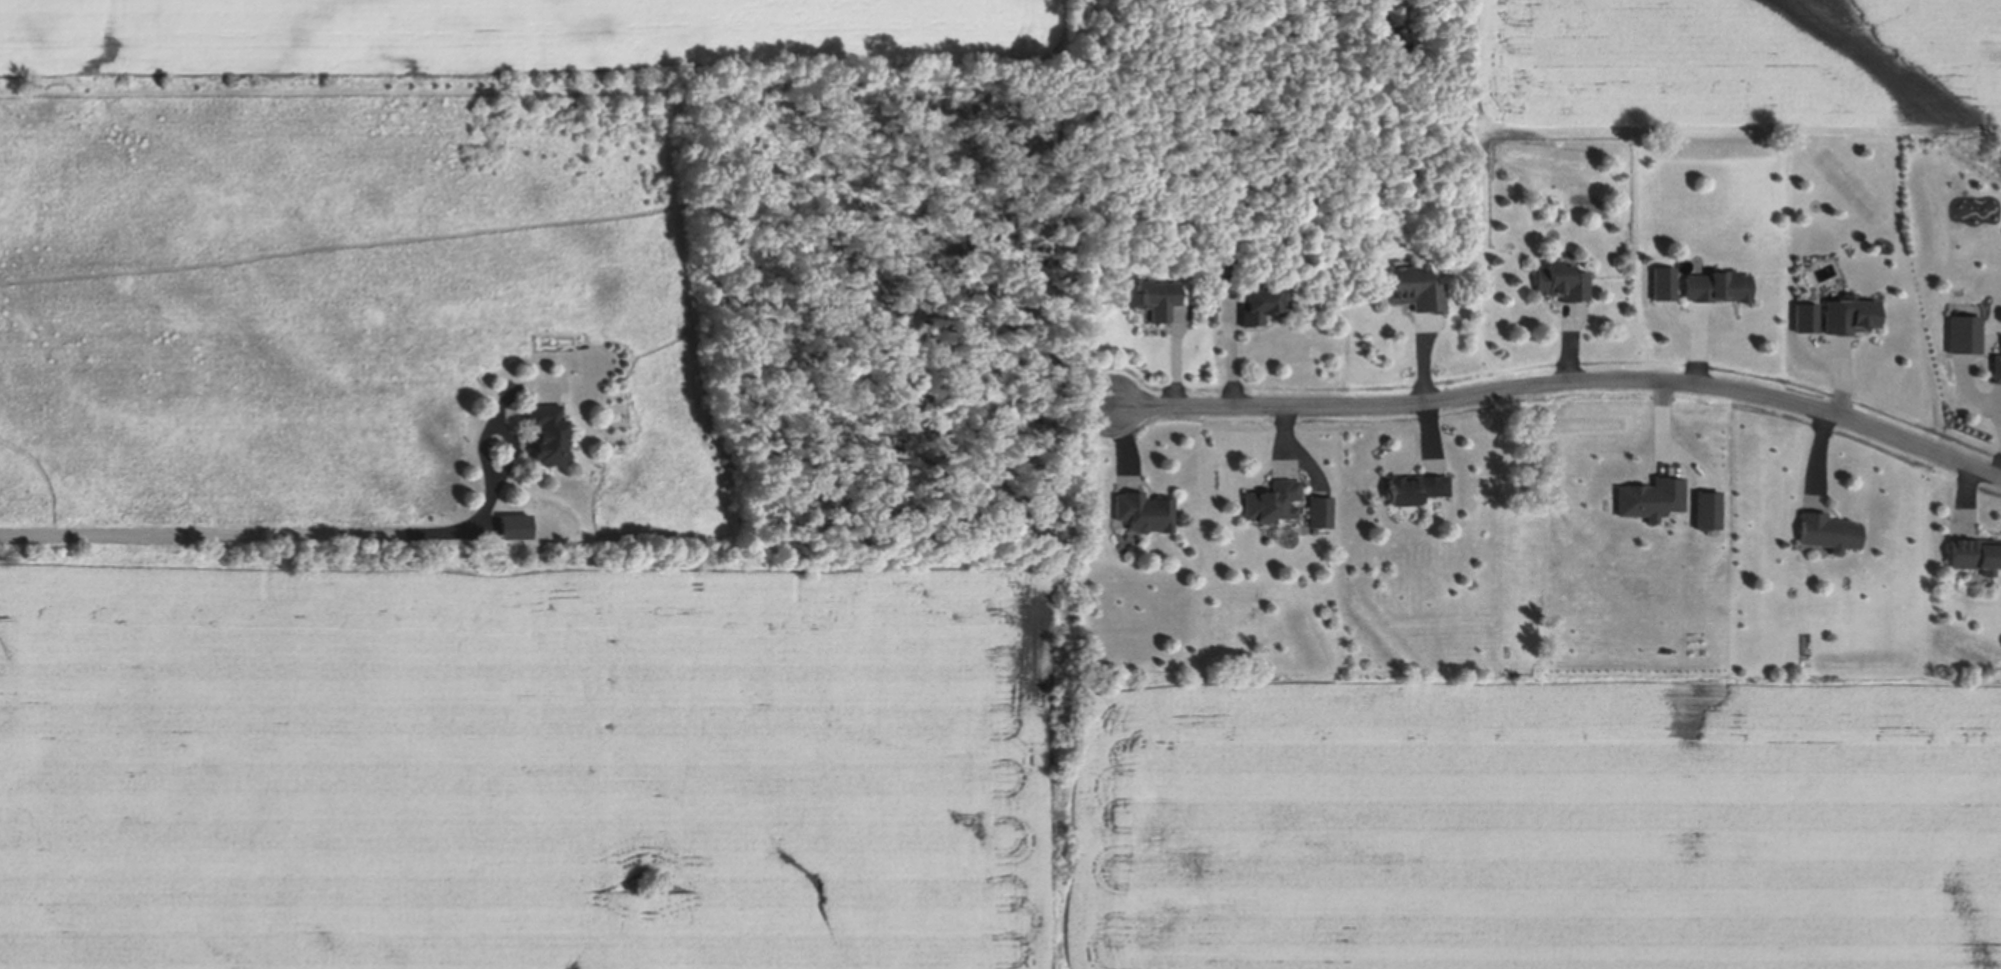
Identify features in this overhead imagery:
building: (1224, 259)
building: (1563, 283)
building: (1412, 289)
building: (1717, 289)
building: (1152, 299)
building: (1264, 305)
building: (1850, 317)
building: (1964, 336)
building: (1697, 341)
building: (1996, 370)
road: (1558, 397)
building: (549, 436)
building: (1283, 468)
building: (1416, 490)
building: (1272, 504)
building: (1145, 514)
building: (1320, 514)
road: (279, 530)
building: (515, 530)
road: (1522, 534)
building: (1827, 535)
building: (1976, 557)

